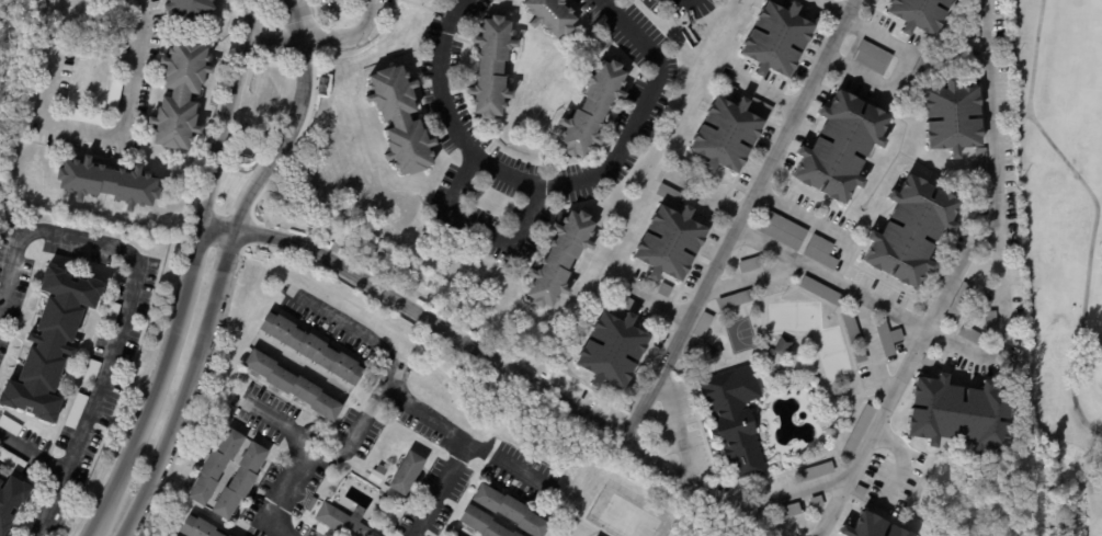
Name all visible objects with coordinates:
building: (271, 0)
building: (777, 1)
building: (188, 9)
building: (918, 14)
building: (548, 16)
building: (970, 18)
road: (250, 20)
road: (297, 20)
road: (350, 35)
road: (275, 39)
building: (775, 39)
road: (908, 56)
building: (871, 57)
road: (304, 61)
building: (920, 66)
building: (488, 68)
building: (728, 91)
road: (764, 91)
building: (112, 95)
building: (179, 95)
building: (758, 106)
building: (589, 109)
building: (82, 116)
building: (950, 118)
building: (397, 121)
road: (88, 132)
building: (724, 135)
building: (839, 148)
building: (980, 159)
building: (682, 168)
building: (106, 184)
road: (555, 184)
road: (758, 185)
building: (668, 194)
road: (704, 196)
road: (1097, 210)
road: (806, 218)
road: (482, 227)
building: (781, 230)
building: (910, 232)
building: (668, 243)
park: (1060, 250)
building: (952, 251)
building: (819, 252)
building: (558, 258)
building: (749, 264)
road: (191, 274)
road: (135, 275)
road: (752, 277)
building: (663, 290)
building: (821, 292)
building: (959, 299)
building: (734, 300)
road: (656, 301)
building: (627, 304)
road: (215, 308)
building: (111, 313)
road: (1006, 321)
building: (989, 323)
building: (851, 329)
road: (450, 331)
park: (740, 334)
building: (697, 335)
building: (970, 335)
building: (887, 339)
building: (49, 344)
road: (870, 344)
building: (309, 347)
building: (781, 347)
building: (611, 351)
building: (712, 352)
park: (831, 353)
building: (859, 356)
building: (928, 362)
building: (91, 372)
road: (901, 376)
park: (1100, 378)
building: (291, 383)
road: (406, 402)
building: (75, 411)
building: (958, 414)
building: (734, 418)
building: (9, 425)
road: (678, 425)
road: (356, 427)
building: (856, 433)
road: (32, 455)
road: (647, 457)
building: (11, 460)
road: (305, 461)
road: (505, 463)
road: (900, 463)
building: (213, 467)
building: (405, 472)
building: (816, 472)
building: (376, 474)
building: (237, 480)
building: (0, 481)
building: (857, 491)
road: (795, 493)
building: (11, 500)
building: (815, 501)
building: (309, 503)
road: (49, 504)
road: (736, 506)
building: (508, 510)
building: (786, 511)
road: (99, 518)
park: (626, 518)
building: (339, 521)
building: (485, 522)
building: (864, 526)
building: (194, 527)
building: (895, 532)
building: (225, 535)
building: (446, 535)

